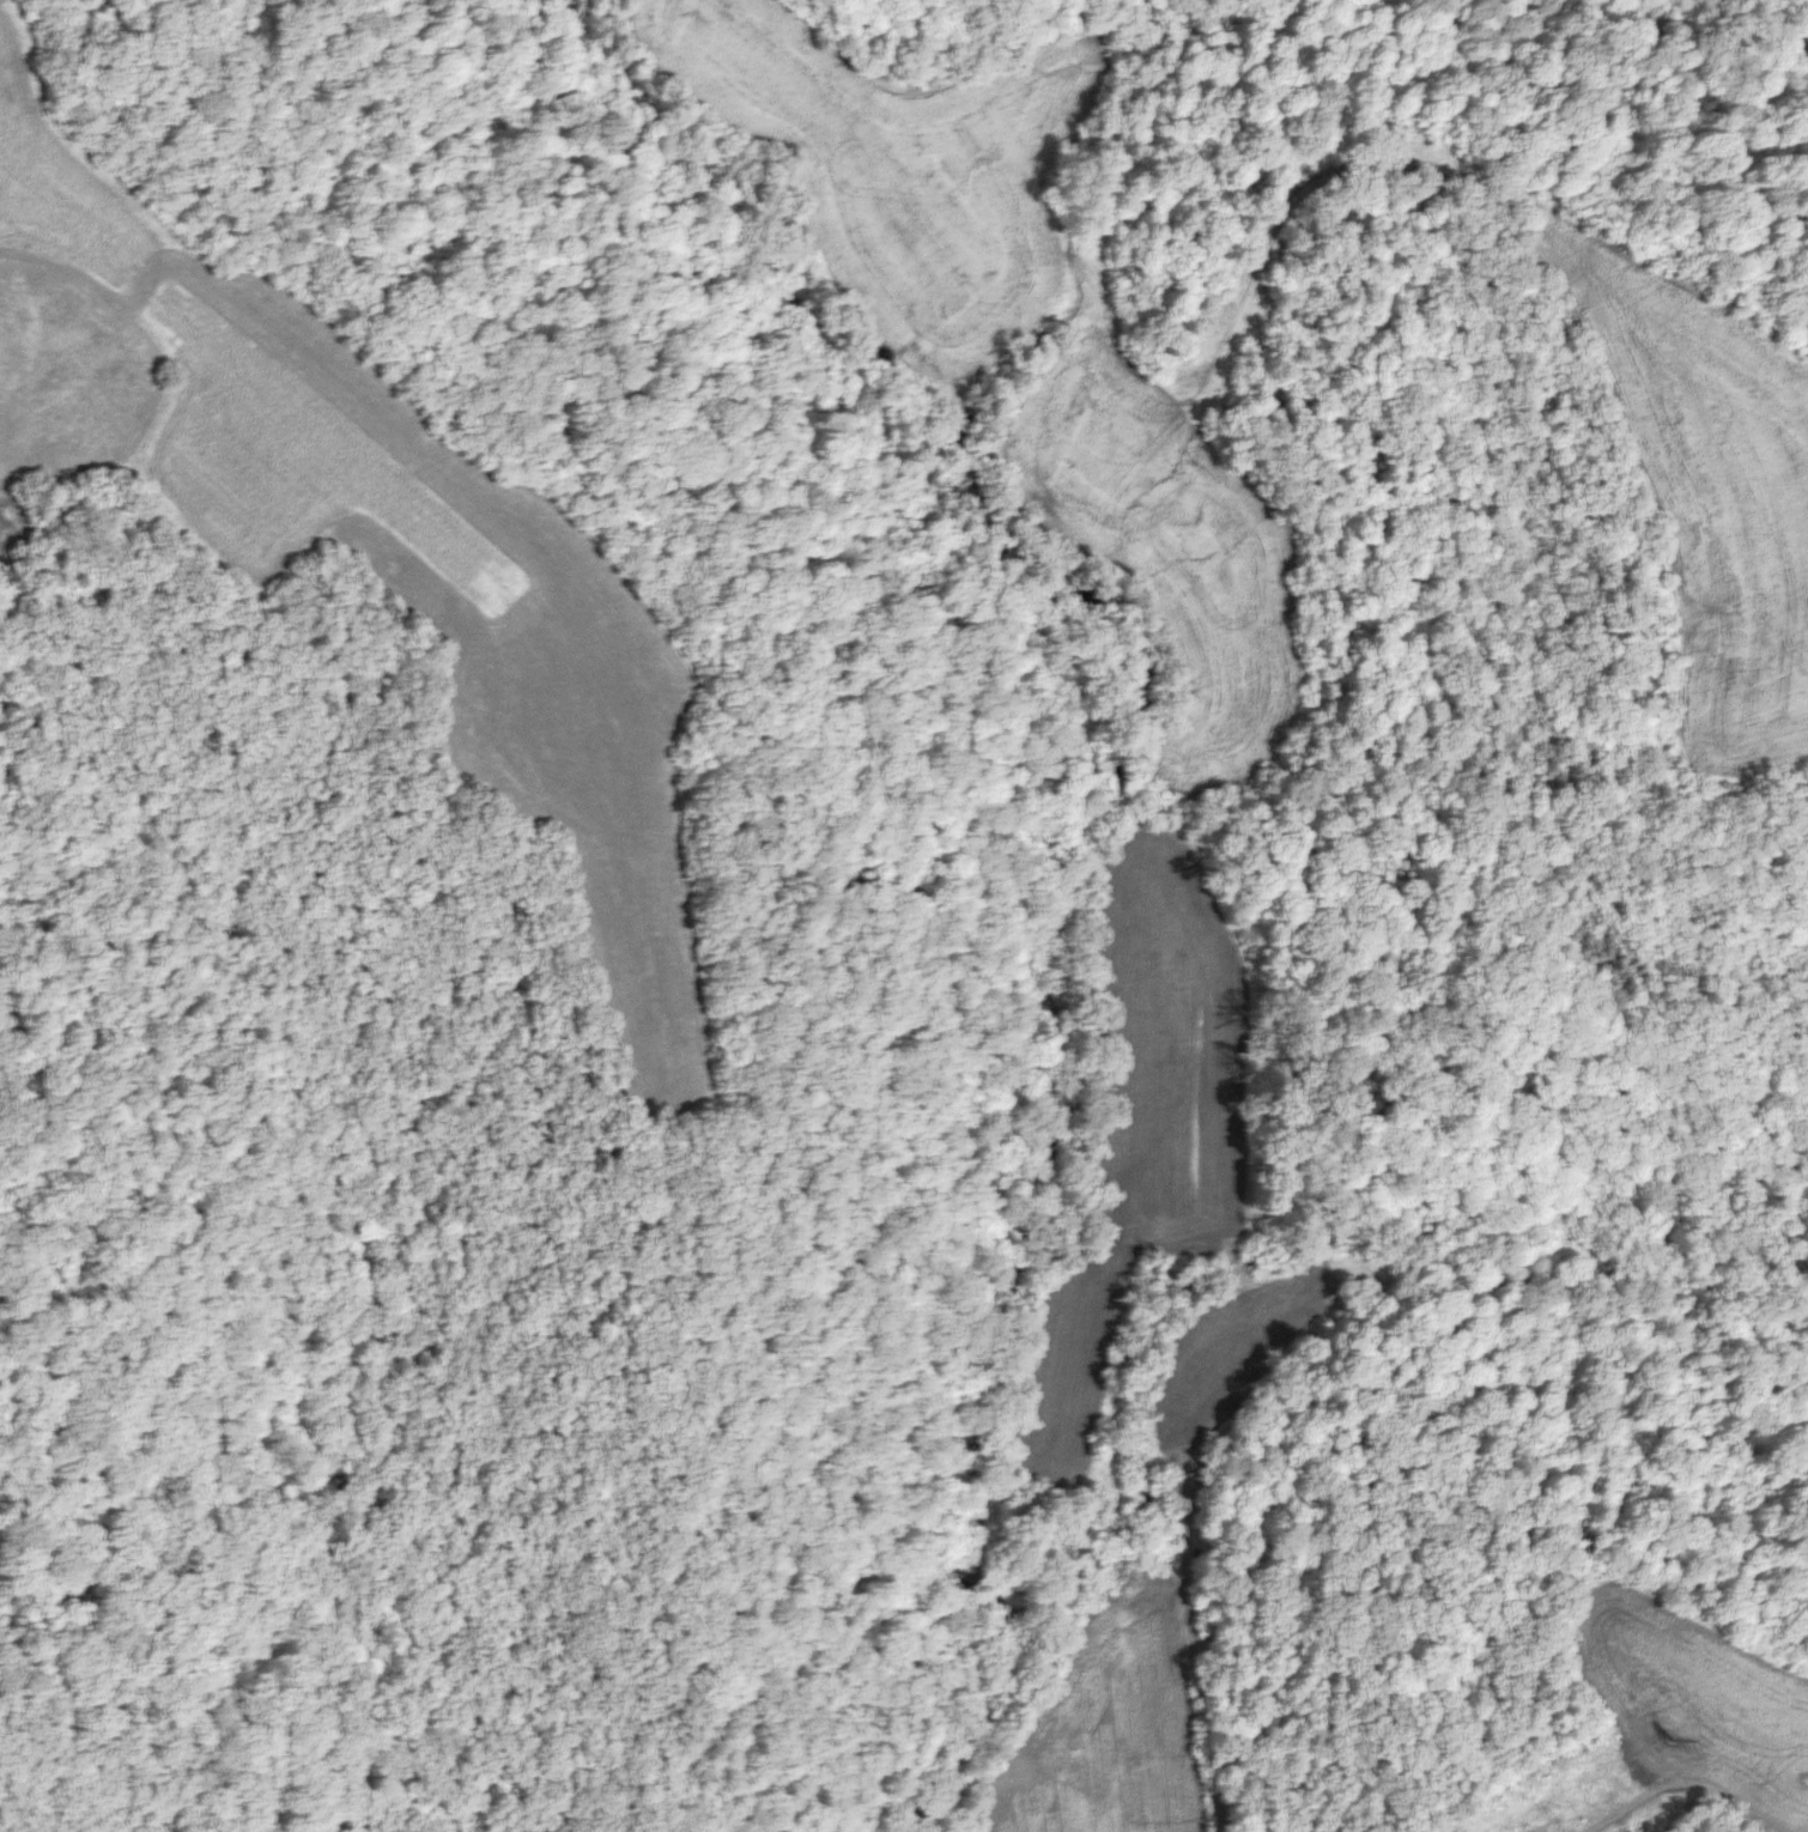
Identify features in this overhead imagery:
power tower: (1674, 1740)

